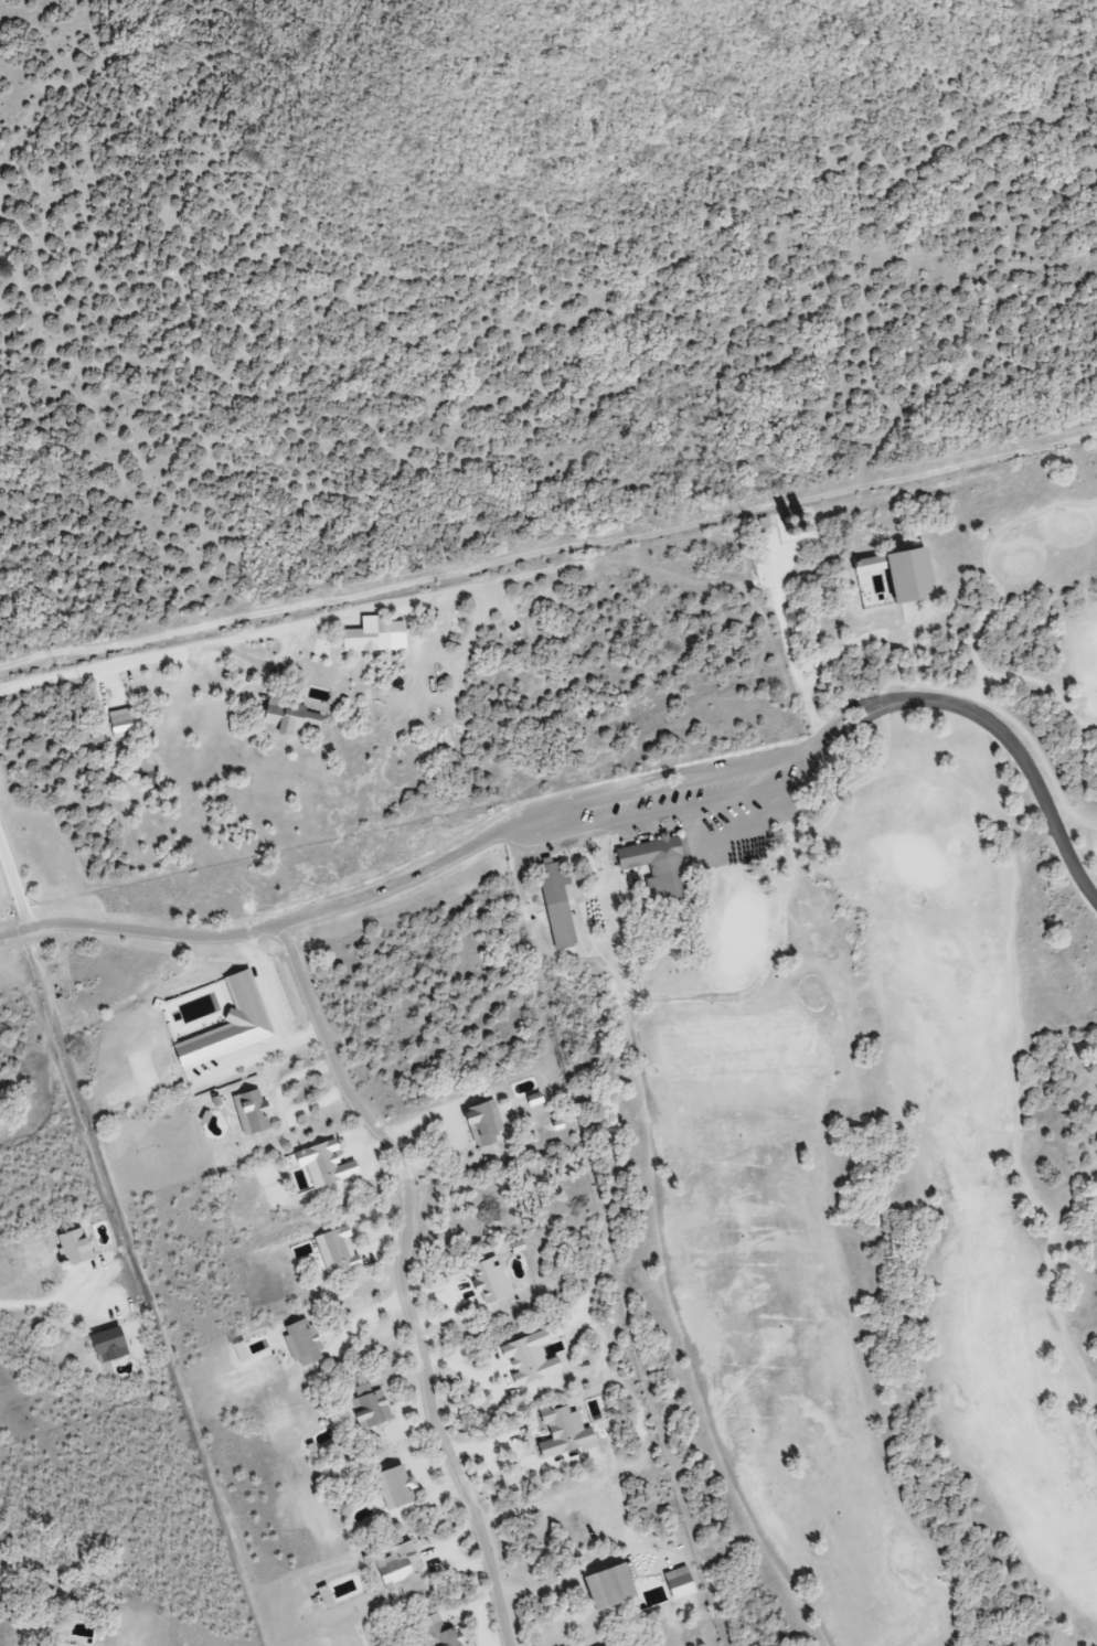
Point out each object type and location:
road: (548, 552)
road: (986, 559)
road: (132, 661)
road: (1041, 681)
road: (888, 684)
road: (949, 705)
building: (287, 719)
building: (121, 725)
road: (1042, 757)
road: (610, 785)
road: (614, 798)
parking lot: (686, 808)
road: (669, 811)
road: (976, 812)
road: (794, 827)
building: (657, 865)
road: (14, 886)
road: (574, 900)
building: (554, 901)
road: (267, 930)
road: (581, 954)
building: (249, 1112)
park: (863, 1115)
building: (482, 1125)
building: (72, 1247)
road: (402, 1278)
building: (486, 1280)
building: (301, 1343)
building: (104, 1345)
building: (368, 1407)
building: (398, 1571)
building: (677, 1583)
building: (604, 1588)
building: (440, 1635)

